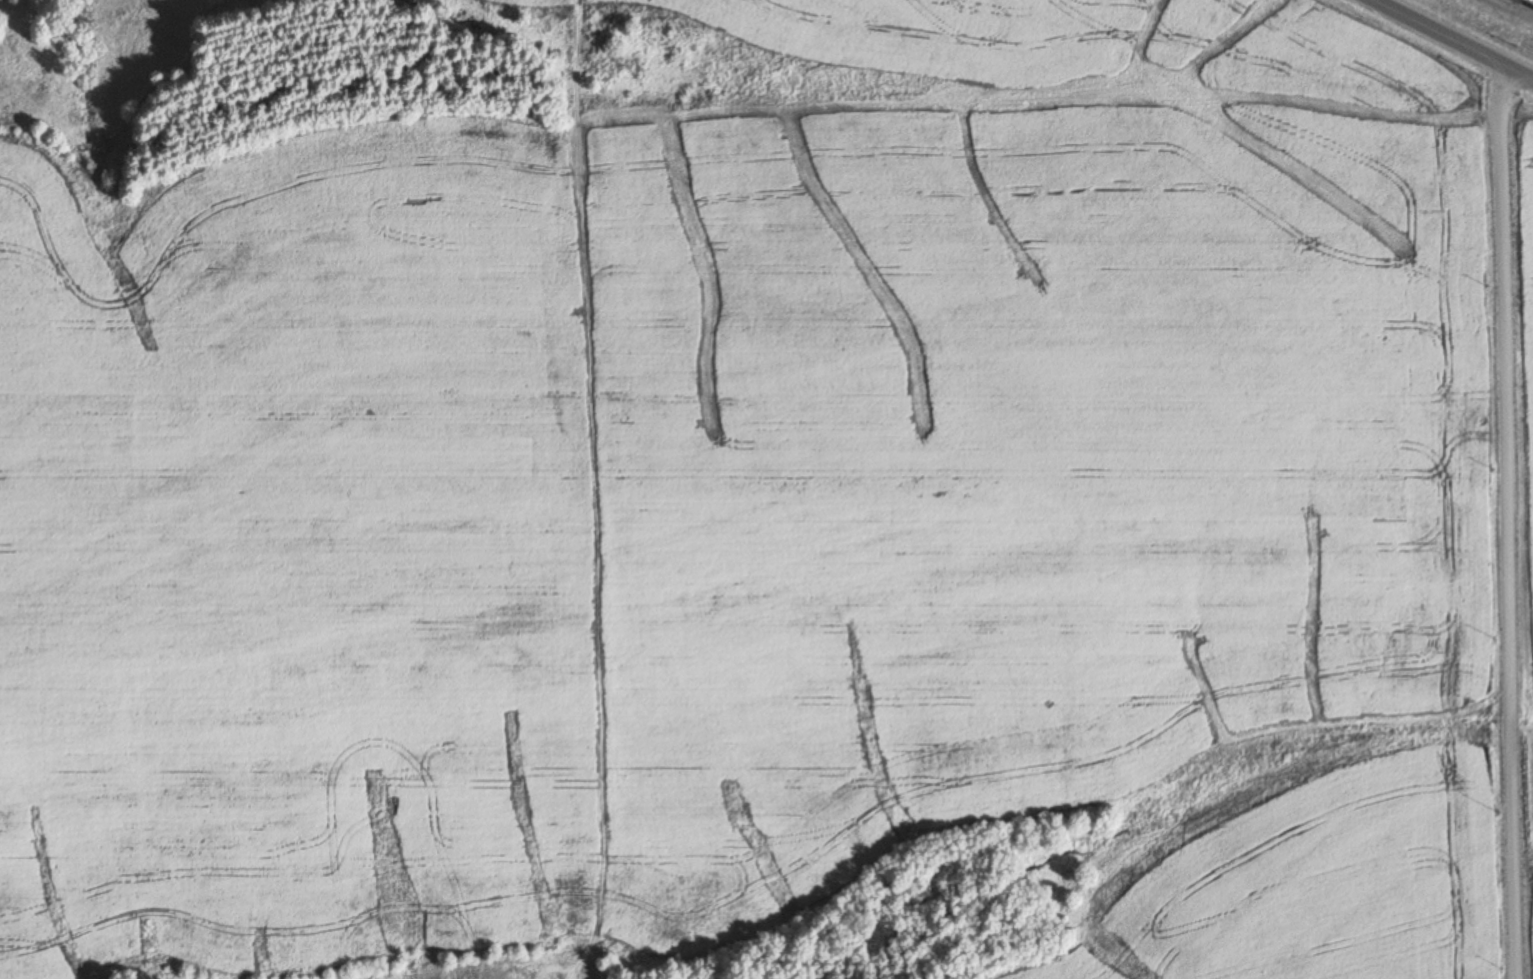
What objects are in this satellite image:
road: (1453, 39)
road: (1515, 524)

